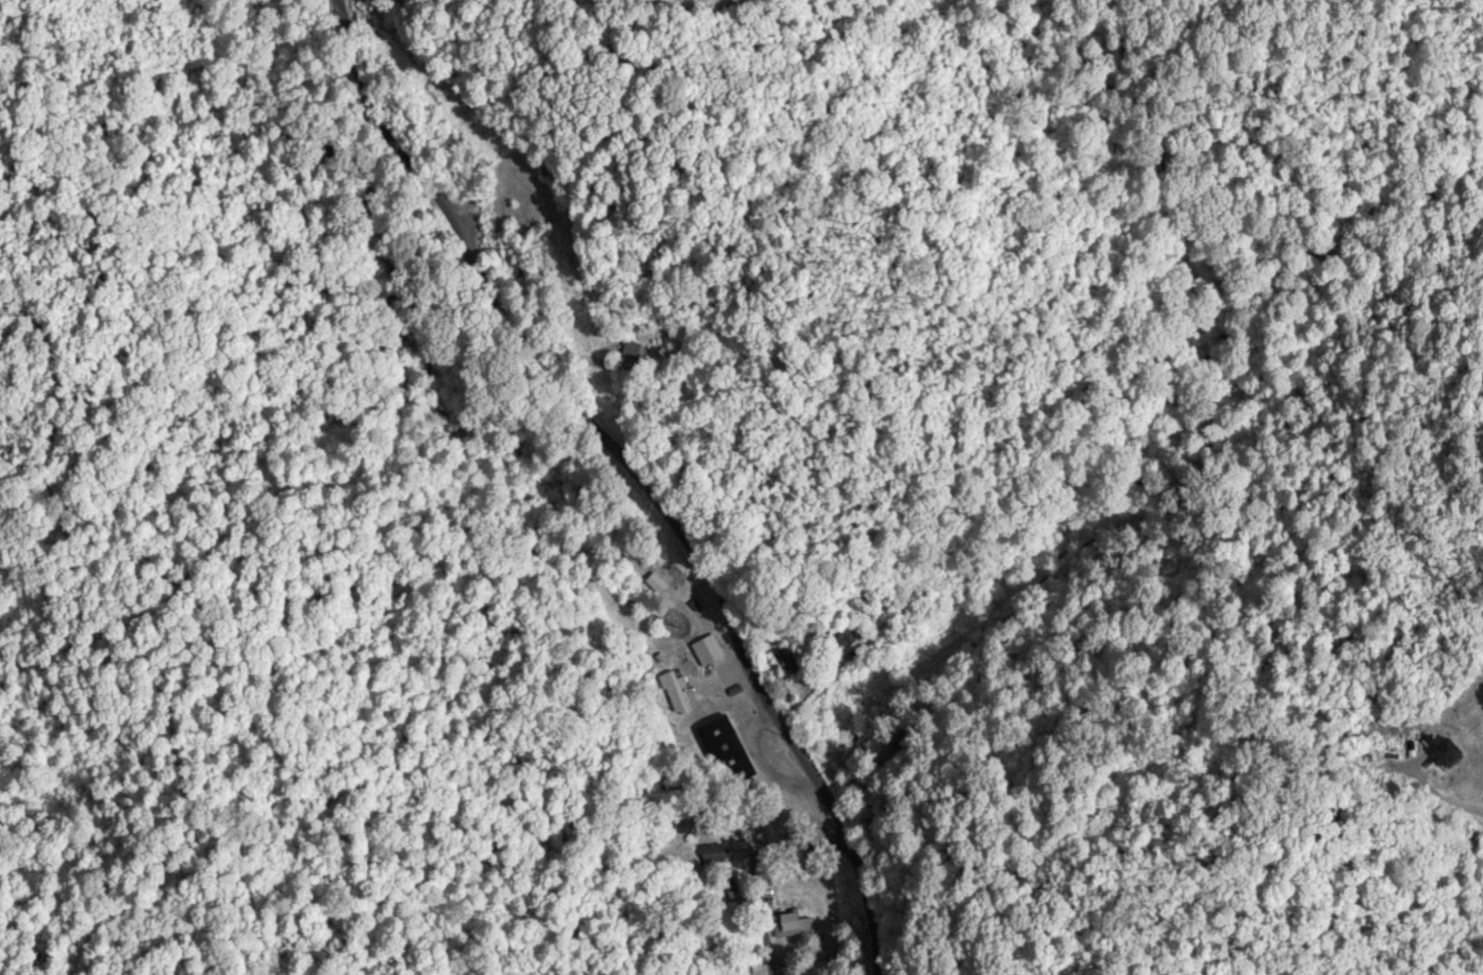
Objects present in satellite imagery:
road: (345, 23)
building: (625, 346)
road: (615, 415)
road: (845, 609)
building: (843, 630)
building: (704, 648)
building: (658, 652)
building: (674, 690)
building: (722, 748)
building: (1441, 750)
building: (713, 851)
road: (868, 889)
road: (762, 912)
building: (791, 923)
building: (787, 971)

